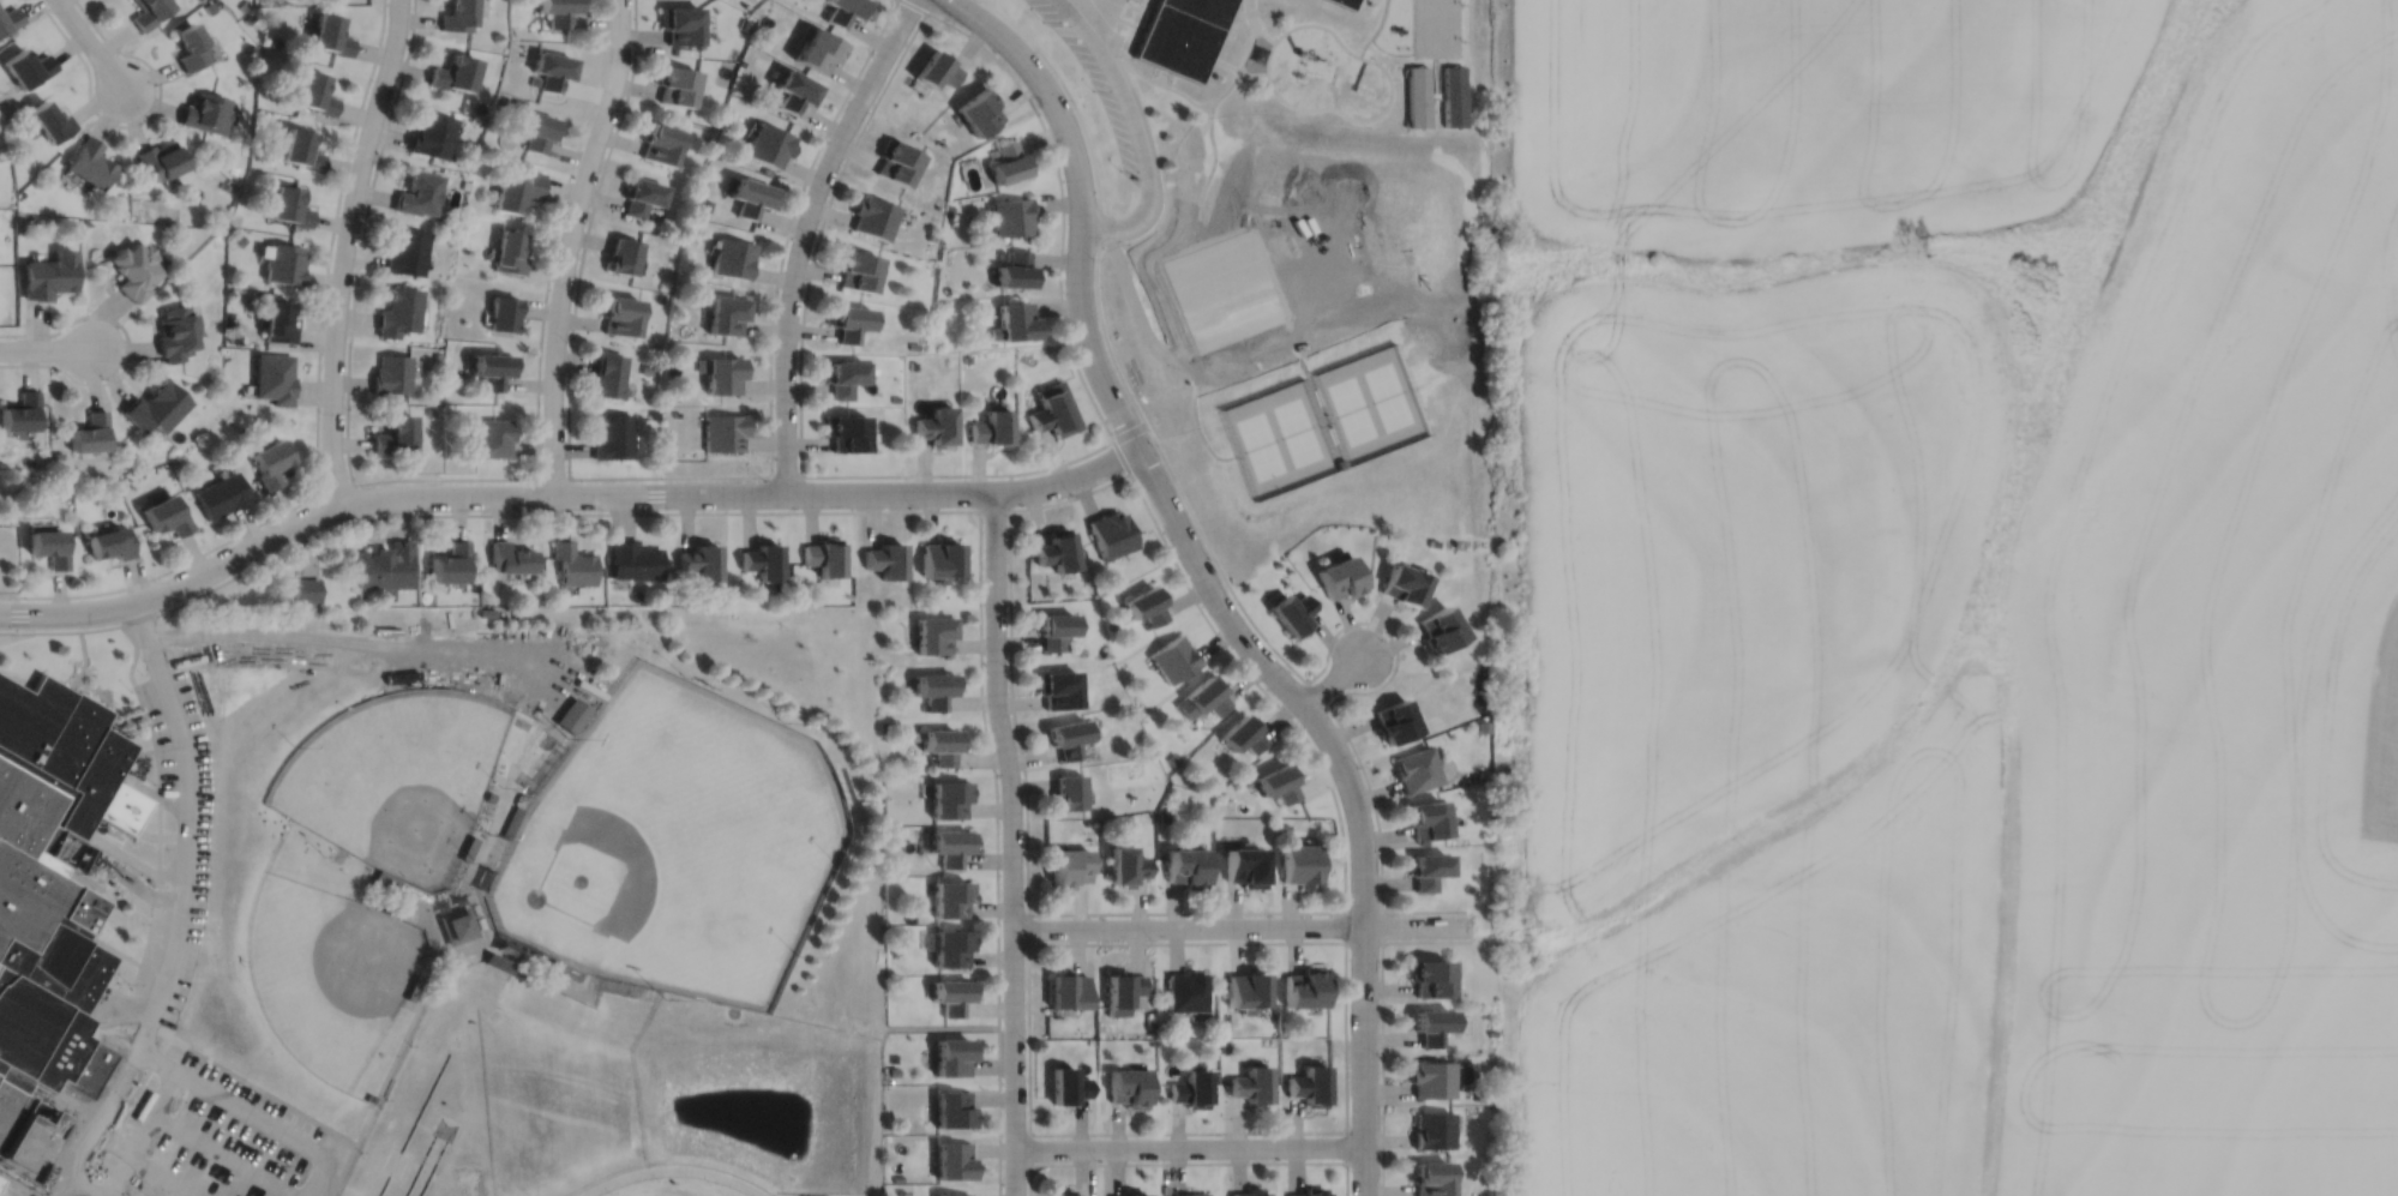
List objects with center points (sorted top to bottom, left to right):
building: (1344, 2)
building: (244, 4)
road: (914, 5)
building: (210, 6)
building: (148, 11)
building: (558, 11)
building: (843, 11)
building: (456, 16)
building: (8, 17)
building: (250, 17)
building: (680, 22)
road: (1375, 29)
road: (1263, 32)
building: (331, 34)
building: (1180, 34)
road: (90, 43)
building: (190, 44)
building: (818, 48)
building: (268, 49)
road: (1368, 58)
road: (1243, 59)
building: (25, 65)
building: (553, 67)
building: (936, 67)
building: (452, 71)
road: (1161, 74)
building: (675, 83)
parking lot: (1094, 84)
building: (794, 89)
building: (315, 91)
building: (1417, 94)
building: (1453, 94)
road: (1074, 108)
building: (979, 109)
building: (205, 112)
building: (258, 115)
building: (48, 120)
road: (134, 121)
road: (1135, 127)
building: (537, 128)
building: (429, 133)
building: (661, 142)
building: (768, 144)
building: (299, 148)
road: (851, 149)
building: (158, 158)
building: (895, 161)
building: (89, 162)
building: (1008, 162)
building: (233, 168)
building: (224, 185)
building: (518, 191)
building: (417, 192)
building: (642, 196)
building: (751, 196)
building: (288, 205)
building: (873, 216)
building: (1011, 216)
road: (789, 226)
road: (1201, 233)
road: (803, 234)
road: (555, 235)
road: (585, 235)
building: (239, 239)
road: (361, 239)
road: (330, 244)
road: (570, 244)
road: (344, 250)
building: (405, 252)
building: (509, 252)
building: (623, 256)
building: (732, 257)
building: (282, 262)
building: (132, 268)
building: (857, 270)
building: (1016, 270)
building: (48, 274)
building: (397, 311)
building: (503, 313)
building: (619, 314)
building: (727, 314)
building: (277, 320)
building: (848, 321)
building: (1015, 321)
building: (174, 332)
building: (234, 336)
road: (128, 347)
road: (46, 348)
road: (1300, 359)
building: (492, 369)
building: (390, 373)
building: (720, 373)
building: (607, 375)
building: (274, 377)
building: (843, 377)
park: (1387, 395)
building: (1317, 396)
building: (155, 407)
park: (1352, 409)
building: (1053, 410)
building: (19, 411)
building: (934, 426)
building: (990, 428)
park: (1297, 431)
building: (723, 432)
building: (845, 432)
building: (89, 433)
building: (1332, 433)
building: (392, 434)
building: (612, 437)
building: (489, 438)
road: (1113, 439)
park: (1260, 444)
building: (58, 455)
building: (1, 463)
building: (269, 463)
road: (1144, 463)
building: (1339, 463)
road: (387, 479)
building: (64, 493)
road: (560, 493)
building: (220, 495)
road: (994, 509)
road: (822, 510)
building: (164, 516)
building: (1111, 530)
building: (1432, 540)
building: (109, 543)
building: (1058, 547)
building: (48, 548)
building: (824, 553)
building: (510, 554)
building: (887, 557)
building: (942, 557)
building: (633, 558)
building: (701, 558)
building: (762, 558)
building: (451, 559)
building: (573, 560)
building: (385, 563)
building: (1338, 575)
building: (1401, 581)
building: (305, 587)
building: (800, 594)
crop: (1959, 596)
road: (1195, 597)
building: (1147, 602)
building: (486, 611)
building: (1290, 611)
building: (1054, 626)
building: (1437, 626)
building: (936, 631)
road: (12, 633)
road: (415, 645)
building: (1174, 656)
road: (83, 660)
road: (1286, 660)
road: (1333, 680)
road: (133, 685)
building: (936, 686)
building: (1058, 686)
road: (1317, 692)
road: (101, 693)
building: (1204, 695)
building: (1144, 707)
building: (572, 713)
building: (1394, 720)
building: (1483, 725)
building: (1244, 732)
building: (1069, 735)
building: (942, 743)
road: (140, 750)
building: (1173, 757)
building: (1414, 768)
park: (396, 776)
building: (1279, 781)
building: (1070, 791)
road: (151, 792)
building: (489, 794)
building: (951, 797)
building: (1164, 816)
building: (1424, 817)
building: (511, 821)
building: (1285, 827)
road: (1012, 842)
park: (674, 843)
building: (952, 845)
building: (468, 846)
parking lot: (200, 848)
building: (494, 851)
road: (133, 858)
building: (1302, 863)
building: (1126, 864)
building: (1186, 865)
building: (1245, 865)
building: (1069, 866)
building: (1425, 869)
building: (49, 875)
building: (485, 875)
road: (471, 876)
building: (386, 877)
building: (458, 877)
road: (417, 887)
building: (414, 890)
building: (951, 897)
building: (475, 903)
building: (383, 906)
road: (179, 909)
road: (485, 909)
road: (1389, 909)
building: (414, 914)
building: (477, 915)
road: (409, 919)
building: (457, 924)
road: (1242, 926)
road: (488, 942)
road: (1154, 942)
building: (954, 945)
road: (108, 946)
building: (523, 950)
building: (498, 962)
building: (425, 963)
road: (142, 964)
building: (565, 968)
park: (327, 972)
building: (1428, 976)
building: (413, 986)
building: (1308, 987)
building: (1069, 990)
building: (1188, 990)
building: (1249, 990)
building: (1123, 991)
building: (952, 993)
building: (471, 1018)
road: (939, 1026)
building: (1429, 1026)
building: (1491, 1032)
road: (206, 1056)
building: (954, 1056)
road: (156, 1058)
road: (1364, 1060)
road: (391, 1065)
building: (893, 1070)
building: (1430, 1078)
building: (1252, 1083)
building: (1311, 1084)
road: (205, 1086)
building: (1068, 1086)
building: (1129, 1087)
building: (1191, 1088)
park: (553, 1092)
building: (1482, 1095)
building: (955, 1110)
park: (551, 1112)
park: (444, 1126)
building: (1431, 1129)
road: (1282, 1131)
track: (407, 1136)
parking lot: (210, 1141)
road: (1189, 1146)
road: (1346, 1146)
road: (1030, 1148)
road: (222, 1154)
building: (954, 1160)
road: (1189, 1161)
park: (419, 1165)
park: (432, 1166)
road: (163, 1176)
building: (897, 1177)
building: (1430, 1178)
building: (1311, 1191)
building: (1063, 1192)
building: (1251, 1192)
road: (20, 1194)
building: (954, 1194)
building: (1131, 1195)
building: (1189, 1195)

